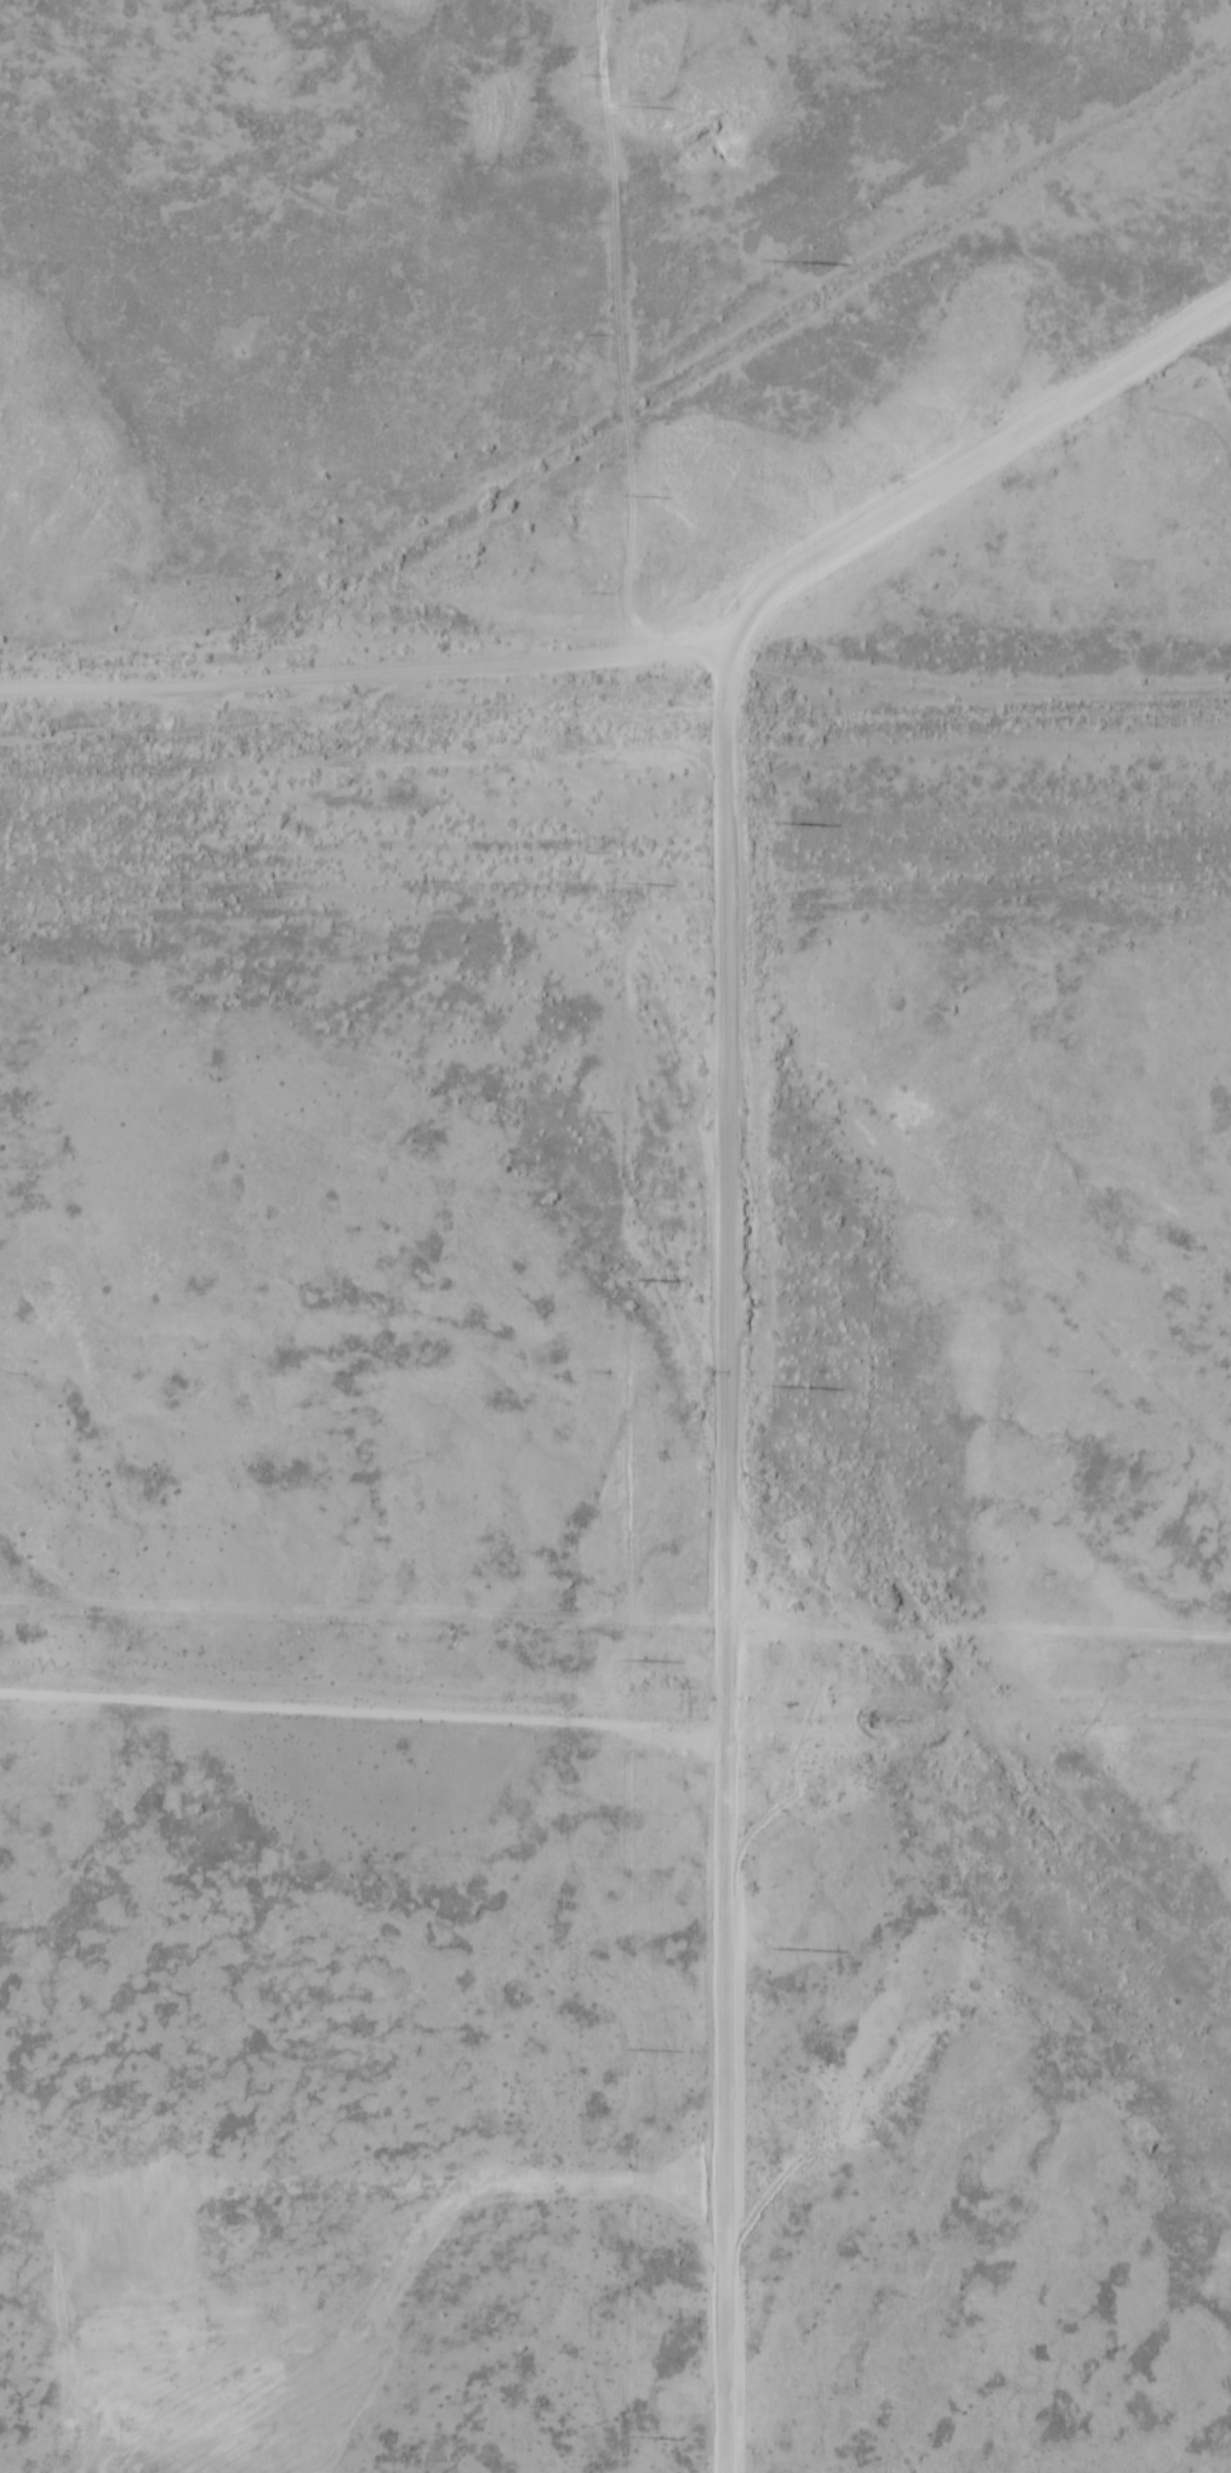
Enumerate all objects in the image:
power tower: (621, 106)
power tower: (768, 262)
power tower: (622, 493)
power tower: (765, 823)
power tower: (620, 882)
road: (728, 1255)
power tower: (623, 1278)
power tower: (769, 1386)
power tower: (622, 1660)
road: (363, 1715)
power tower: (770, 1950)
power tower: (625, 2050)
road: (415, 2250)
power tower: (626, 2435)

